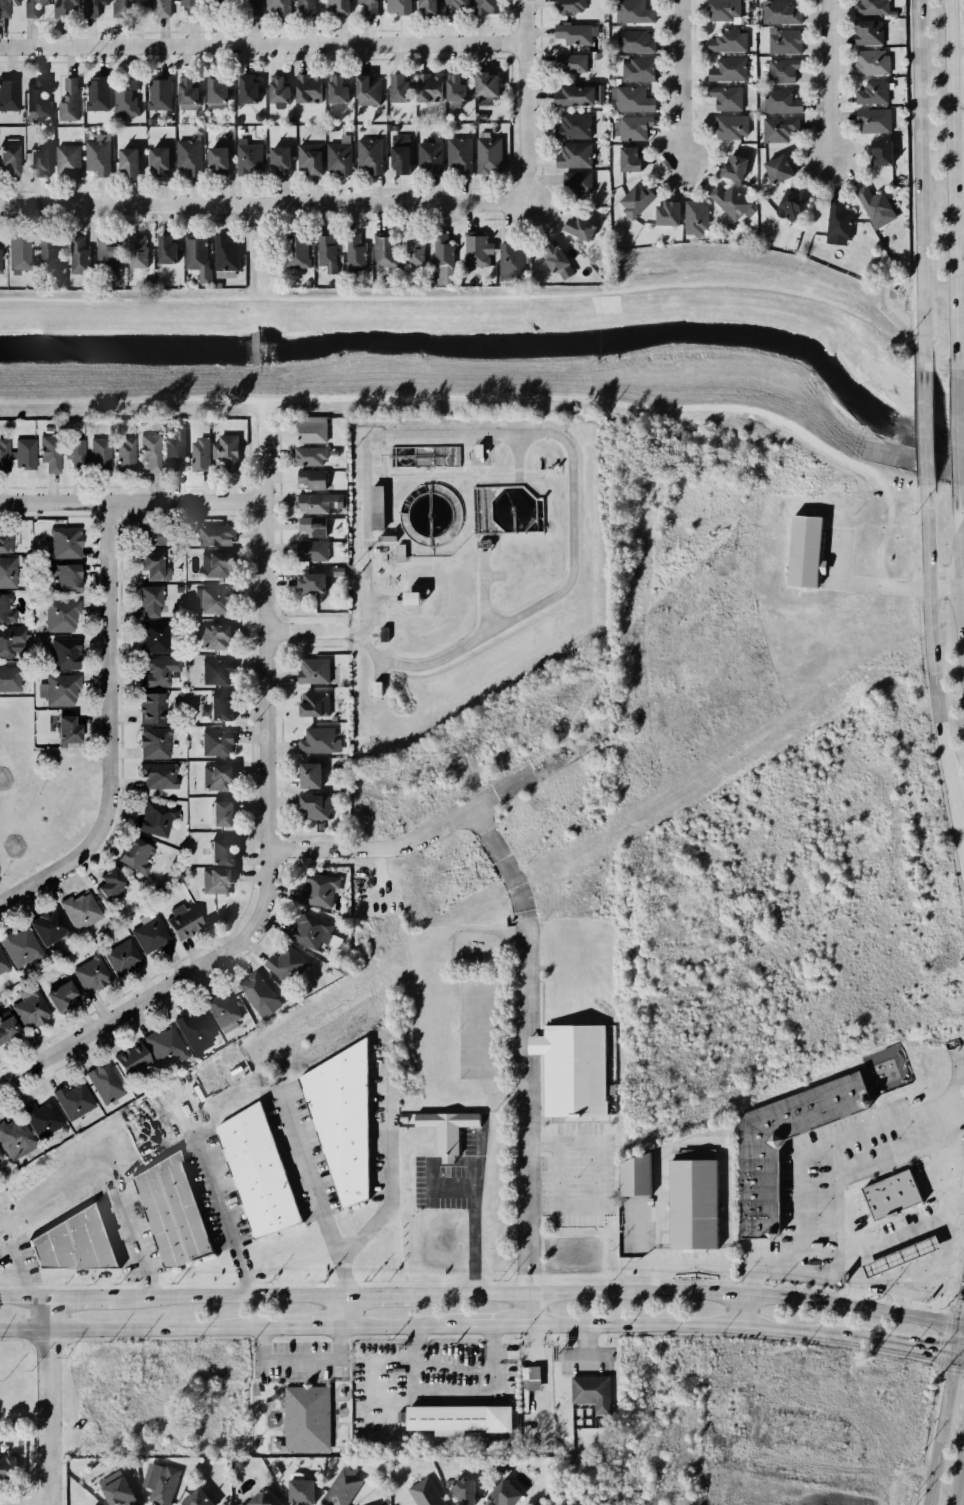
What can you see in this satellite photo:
building: (191, 6)
building: (217, 6)
building: (334, 6)
building: (365, 6)
building: (123, 7)
building: (250, 7)
building: (396, 7)
building: (424, 7)
building: (32, 8)
building: (276, 8)
building: (305, 8)
building: (455, 8)
building: (870, 8)
building: (94, 9)
building: (5, 10)
building: (64, 10)
building: (157, 10)
building: (486, 10)
building: (570, 10)
building: (720, 10)
building: (632, 12)
building: (779, 12)
building: (867, 33)
building: (575, 37)
building: (725, 40)
building: (634, 41)
building: (783, 42)
road: (261, 43)
building: (870, 63)
building: (570, 67)
building: (637, 70)
building: (724, 70)
building: (782, 71)
road: (828, 78)
road: (681, 80)
building: (306, 87)
building: (395, 87)
building: (454, 87)
building: (336, 88)
building: (422, 88)
building: (483, 89)
building: (245, 90)
building: (365, 90)
building: (183, 91)
building: (275, 91)
building: (96, 93)
building: (214, 93)
building: (870, 93)
building: (157, 94)
building: (8, 95)
building: (570, 96)
building: (36, 97)
building: (125, 97)
building: (66, 98)
building: (724, 98)
road: (523, 100)
building: (633, 100)
building: (779, 101)
building: (870, 121)
building: (571, 125)
building: (632, 127)
building: (778, 127)
building: (729, 129)
building: (877, 151)
building: (487, 154)
building: (572, 155)
building: (248, 156)
building: (369, 157)
building: (457, 157)
building: (398, 158)
building: (95, 159)
building: (186, 159)
building: (628, 159)
building: (214, 160)
building: (276, 161)
building: (306, 161)
building: (337, 161)
building: (65, 162)
building: (7, 163)
building: (34, 163)
building: (155, 163)
building: (428, 163)
building: (125, 164)
building: (729, 167)
building: (775, 168)
road: (919, 181)
building: (576, 184)
road: (952, 184)
building: (634, 200)
building: (729, 201)
road: (262, 202)
building: (788, 204)
building: (875, 207)
building: (663, 212)
building: (694, 218)
building: (837, 221)
building: (575, 226)
road: (260, 242)
building: (161, 249)
building: (415, 249)
building: (474, 249)
building: (440, 250)
building: (107, 252)
building: (135, 252)
building: (324, 252)
building: (382, 252)
building: (193, 254)
building: (356, 254)
building: (551, 254)
building: (47, 256)
building: (224, 256)
building: (294, 256)
building: (79, 257)
building: (19, 258)
building: (509, 259)
building: (0, 262)
river: (520, 357)
road: (923, 423)
building: (309, 431)
road: (551, 435)
road: (957, 437)
building: (225, 450)
building: (23, 451)
building: (149, 451)
building: (49, 452)
building: (74, 452)
building: (173, 452)
building: (99, 453)
building: (199, 453)
building: (3, 454)
building: (124, 454)
building: (308, 454)
building: (479, 455)
building: (310, 478)
road: (131, 501)
building: (310, 504)
building: (372, 506)
road: (961, 524)
building: (311, 526)
building: (145, 533)
building: (215, 535)
building: (383, 537)
building: (5, 542)
building: (65, 543)
building: (480, 544)
building: (310, 551)
building: (801, 551)
building: (398, 552)
building: (145, 564)
building: (211, 564)
wastewater plant: (466, 564)
building: (7, 572)
building: (58, 580)
road: (959, 580)
building: (308, 582)
road: (865, 583)
road: (943, 586)
building: (405, 597)
building: (146, 600)
building: (212, 600)
building: (5, 609)
building: (61, 616)
road: (314, 630)
building: (381, 633)
building: (214, 636)
building: (149, 638)
building: (10, 644)
road: (929, 646)
building: (69, 653)
building: (311, 671)
building: (214, 672)
building: (157, 675)
building: (9, 677)
road: (117, 679)
building: (372, 688)
building: (59, 691)
building: (312, 704)
building: (217, 705)
building: (150, 707)
building: (65, 729)
building: (317, 741)
building: (151, 742)
building: (215, 742)
building: (305, 775)
building: (157, 776)
building: (216, 777)
park: (41, 795)
road: (271, 797)
building: (312, 804)
building: (218, 813)
building: (153, 817)
road: (446, 824)
road: (958, 839)
building: (218, 852)
building: (131, 853)
road: (46, 879)
building: (215, 880)
building: (105, 882)
building: (314, 893)
building: (80, 912)
building: (182, 923)
building: (47, 928)
building: (308, 930)
building: (149, 937)
building: (19, 947)
building: (120, 957)
building: (285, 963)
building: (2, 967)
building: (88, 974)
building: (255, 990)
building: (56, 993)
building: (220, 1009)
building: (28, 1011)
building: (6, 1030)
building: (194, 1030)
road: (527, 1045)
building: (164, 1046)
building: (127, 1059)
building: (568, 1068)
road: (25, 1073)
building: (104, 1083)
building: (72, 1101)
building: (898, 1105)
building: (338, 1118)
building: (44, 1121)
building: (446, 1129)
building: (14, 1140)
road: (825, 1143)
road: (384, 1152)
building: (1, 1156)
building: (253, 1171)
road: (849, 1171)
building: (632, 1175)
building: (753, 1189)
road: (595, 1191)
building: (887, 1193)
road: (316, 1194)
road: (956, 1201)
building: (690, 1204)
building: (167, 1210)
road: (227, 1219)
road: (473, 1227)
building: (70, 1240)
road: (134, 1243)
gas station: (896, 1255)
building: (901, 1256)
road: (27, 1276)
road: (919, 1290)
road: (684, 1292)
road: (854, 1293)
road: (377, 1295)
road: (228, 1296)
road: (82, 1297)
road: (959, 1297)
road: (25, 1298)
road: (898, 1300)
road: (528, 1310)
road: (343, 1311)
road: (743, 1311)
traffic signals: (955, 1322)
road: (959, 1322)
road: (493, 1325)
road: (699, 1325)
road: (400, 1326)
road: (304, 1327)
road: (133, 1328)
road: (953, 1338)
road: (910, 1347)
building: (707, 1351)
traffic signals: (951, 1355)
road: (957, 1356)
road: (300, 1359)
road: (535, 1380)
building: (530, 1385)
building: (587, 1388)
road: (452, 1391)
road: (51, 1400)
building: (304, 1417)
building: (454, 1417)
road: (938, 1430)
building: (475, 1434)
building: (272, 1446)
building: (6, 1466)
building: (273, 1470)
road: (959, 1481)
building: (161, 1486)
building: (340, 1486)
building: (297, 1490)
building: (461, 1491)
building: (114, 1492)
building: (422, 1493)
building: (500, 1493)
building: (194, 1498)
building: (258, 1498)
road: (33, 1504)

